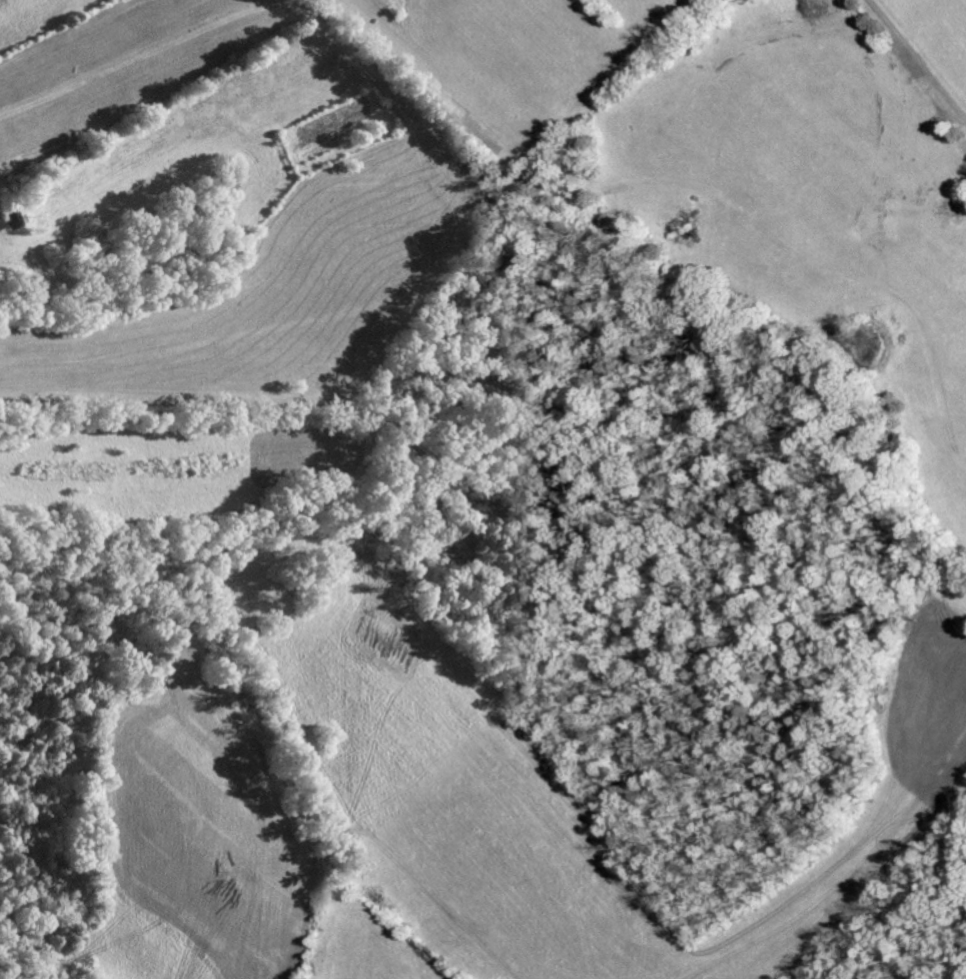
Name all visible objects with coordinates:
road: (917, 56)

